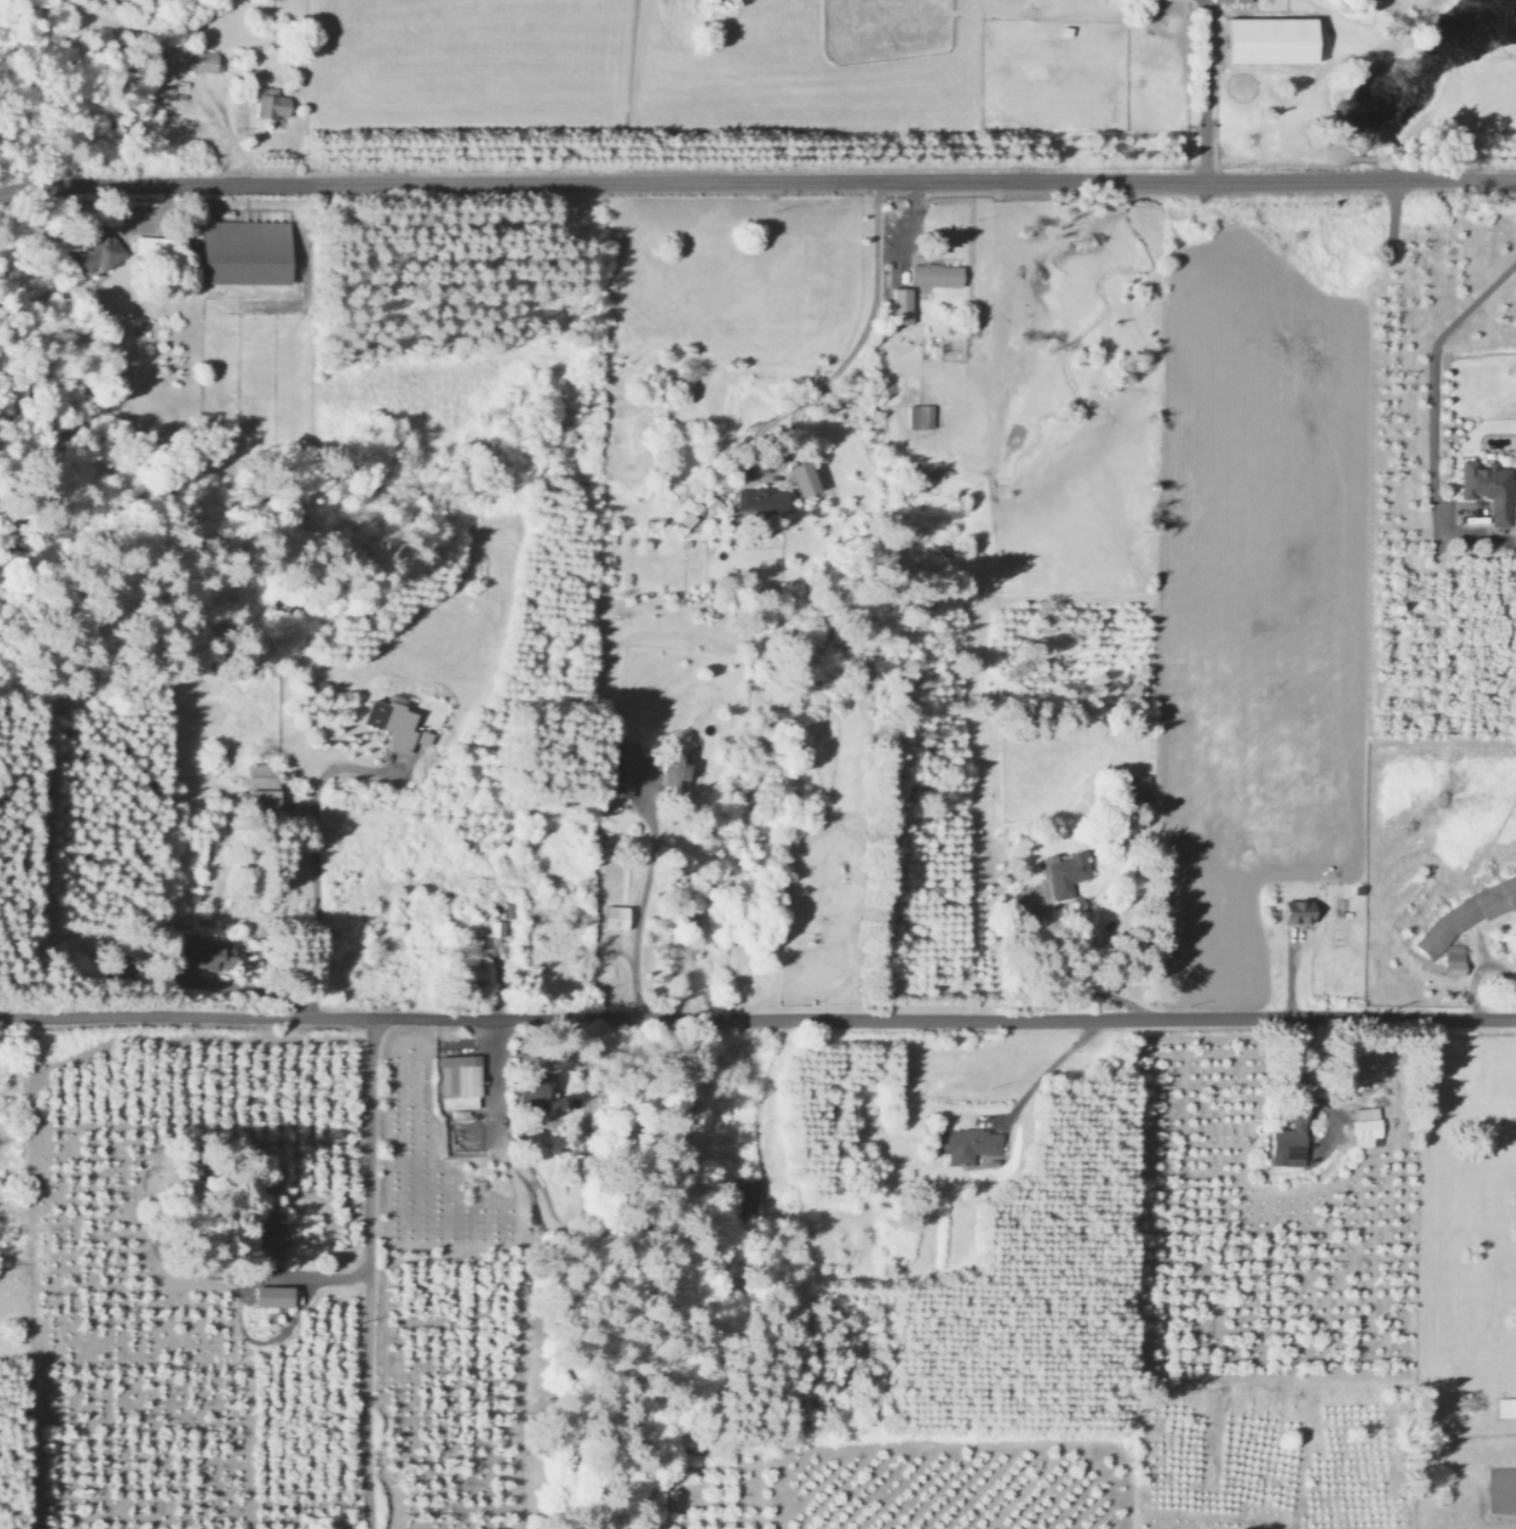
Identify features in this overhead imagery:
building: (1234, 0)
building: (1272, 39)
building: (201, 59)
crop: (840, 65)
crop: (1443, 76)
road: (1215, 90)
building: (273, 104)
road: (757, 182)
road: (126, 214)
building: (158, 242)
building: (100, 249)
building: (245, 250)
building: (937, 273)
building: (903, 303)
road: (866, 328)
road: (1424, 374)
building: (922, 414)
building: (805, 476)
building: (1490, 486)
building: (764, 497)
building: (687, 510)
building: (395, 721)
building: (621, 767)
building: (676, 767)
building: (263, 784)
road: (309, 861)
building: (1068, 871)
road: (645, 903)
building: (1300, 910)
building: (617, 916)
building: (497, 927)
building: (202, 953)
building: (1455, 958)
building: (477, 969)
road: (1059, 974)
road: (253, 981)
road: (757, 1018)
road: (1048, 1060)
road: (497, 1077)
building: (462, 1080)
road: (1312, 1084)
building: (536, 1085)
road: (764, 1096)
building: (1366, 1124)
building: (1291, 1137)
building: (970, 1142)
crop: (1460, 1203)
building: (270, 1235)
road: (369, 1272)
building: (273, 1294)
road: (234, 1298)
building: (1506, 1406)

